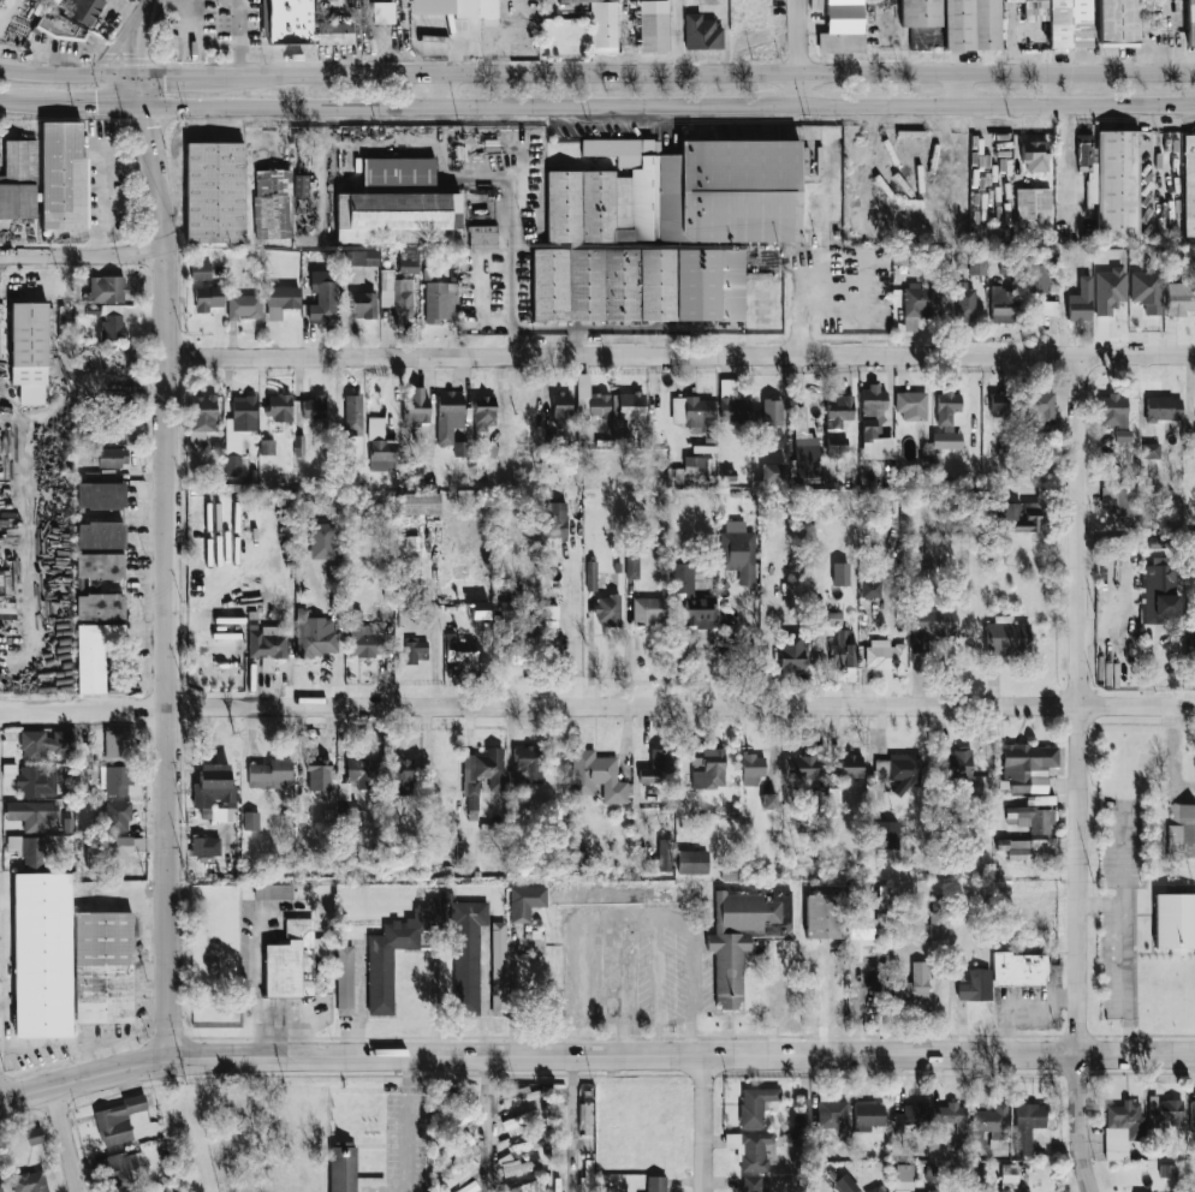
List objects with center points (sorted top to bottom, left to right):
building: (53, 1)
building: (454, 7)
building: (85, 10)
building: (381, 12)
road: (142, 18)
building: (1118, 20)
building: (1190, 20)
road: (191, 22)
building: (287, 22)
building: (957, 22)
building: (1069, 23)
building: (602, 24)
parking lot: (213, 25)
building: (653, 25)
building: (60, 26)
building: (842, 28)
building: (701, 31)
building: (334, 32)
road: (238, 37)
road: (726, 42)
road: (798, 53)
road: (111, 54)
road: (67, 73)
road: (174, 74)
road: (703, 74)
road: (445, 90)
road: (957, 90)
road: (18, 102)
road: (90, 103)
road: (668, 106)
building: (1034, 154)
road: (1071, 166)
building: (63, 175)
building: (18, 180)
road: (506, 180)
building: (1112, 180)
building: (301, 184)
building: (1189, 184)
building: (214, 192)
building: (272, 203)
building: (398, 204)
building: (1033, 207)
building: (661, 228)
building: (482, 236)
road: (83, 254)
building: (359, 257)
building: (977, 263)
building: (409, 264)
building: (200, 269)
building: (1038, 272)
building: (352, 274)
building: (107, 288)
building: (1146, 290)
building: (208, 297)
building: (1179, 297)
building: (280, 299)
building: (402, 299)
building: (921, 299)
building: (1081, 300)
building: (322, 302)
building: (964, 302)
building: (436, 303)
building: (363, 304)
building: (1001, 304)
building: (244, 305)
building: (1048, 308)
building: (93, 309)
building: (112, 323)
road: (799, 326)
building: (29, 351)
road: (680, 354)
building: (589, 399)
building: (732, 401)
building: (1000, 403)
building: (910, 404)
building: (1041, 404)
building: (628, 405)
building: (278, 406)
building: (313, 406)
building: (416, 407)
building: (946, 407)
building: (1163, 407)
building: (1112, 409)
building: (838, 410)
building: (769, 411)
building: (202, 412)
building: (243, 412)
building: (483, 412)
building: (694, 412)
building: (352, 413)
building: (448, 416)
building: (557, 417)
building: (115, 423)
building: (874, 424)
building: (1122, 434)
building: (803, 436)
building: (619, 437)
building: (231, 439)
building: (946, 440)
building: (836, 443)
building: (298, 445)
building: (267, 446)
building: (380, 446)
building: (459, 447)
building: (1151, 449)
building: (109, 455)
building: (232, 464)
building: (694, 464)
building: (773, 472)
building: (100, 495)
building: (417, 502)
building: (1125, 502)
building: (1017, 515)
building: (555, 518)
building: (100, 535)
building: (321, 540)
road: (167, 546)
building: (738, 550)
building: (99, 565)
building: (631, 565)
building: (408, 567)
building: (840, 573)
building: (334, 574)
building: (590, 574)
building: (868, 588)
building: (1160, 590)
building: (691, 596)
building: (512, 602)
building: (99, 606)
building: (478, 609)
building: (607, 609)
building: (648, 609)
building: (834, 618)
building: (929, 625)
building: (315, 634)
building: (362, 634)
building: (1006, 636)
building: (266, 640)
building: (1191, 642)
building: (459, 649)
road: (748, 649)
building: (843, 649)
building: (415, 650)
building: (521, 651)
building: (791, 651)
building: (94, 654)
road: (591, 654)
building: (885, 654)
road: (597, 707)
building: (44, 744)
building: (117, 744)
building: (529, 763)
building: (957, 763)
building: (801, 765)
building: (850, 765)
building: (1028, 765)
building: (658, 767)
building: (708, 768)
building: (751, 768)
building: (899, 768)
building: (319, 773)
building: (361, 773)
building: (482, 773)
road: (1081, 773)
building: (270, 774)
building: (596, 775)
building: (399, 776)
building: (117, 779)
building: (36, 780)
building: (215, 789)
building: (768, 800)
building: (31, 812)
building: (118, 813)
building: (1029, 817)
building: (250, 819)
building: (1179, 829)
building: (1194, 830)
building: (887, 841)
building: (204, 845)
building: (1024, 847)
building: (124, 848)
building: (35, 852)
building: (665, 853)
building: (691, 860)
building: (581, 862)
building: (273, 890)
building: (611, 895)
building: (524, 901)
building: (822, 916)
building: (1175, 922)
road: (631, 929)
building: (938, 929)
building: (743, 934)
building: (863, 935)
building: (42, 954)
building: (466, 955)
building: (292, 959)
building: (103, 966)
building: (498, 967)
building: (1019, 968)
building: (344, 978)
building: (380, 981)
building: (912, 983)
building: (974, 983)
road: (659, 991)
road: (623, 993)
road: (435, 996)
road: (512, 997)
road: (1016, 1000)
road: (842, 1054)
road: (242, 1059)
building: (513, 1092)
building: (755, 1104)
building: (1164, 1111)
building: (832, 1113)
building: (868, 1114)
building: (1191, 1114)
building: (802, 1115)
building: (910, 1115)
building: (951, 1115)
building: (458, 1117)
building: (118, 1119)
building: (519, 1119)
road: (706, 1122)
road: (572, 1124)
building: (992, 1124)
road: (406, 1125)
road: (489, 1125)
building: (1027, 1125)
building: (1120, 1127)
building: (34, 1136)
road: (67, 1140)
building: (521, 1145)
building: (459, 1146)
building: (756, 1150)
building: (517, 1164)
building: (124, 1166)
building: (341, 1169)
building: (459, 1175)
building: (903, 1176)
building: (29, 1181)
building: (584, 1182)
building: (656, 1184)
building: (750, 1184)
building: (845, 1184)
building: (518, 1186)
building: (0, 1188)
building: (468, 1188)
building: (879, 1188)
building: (903, 1190)
building: (932, 1191)

